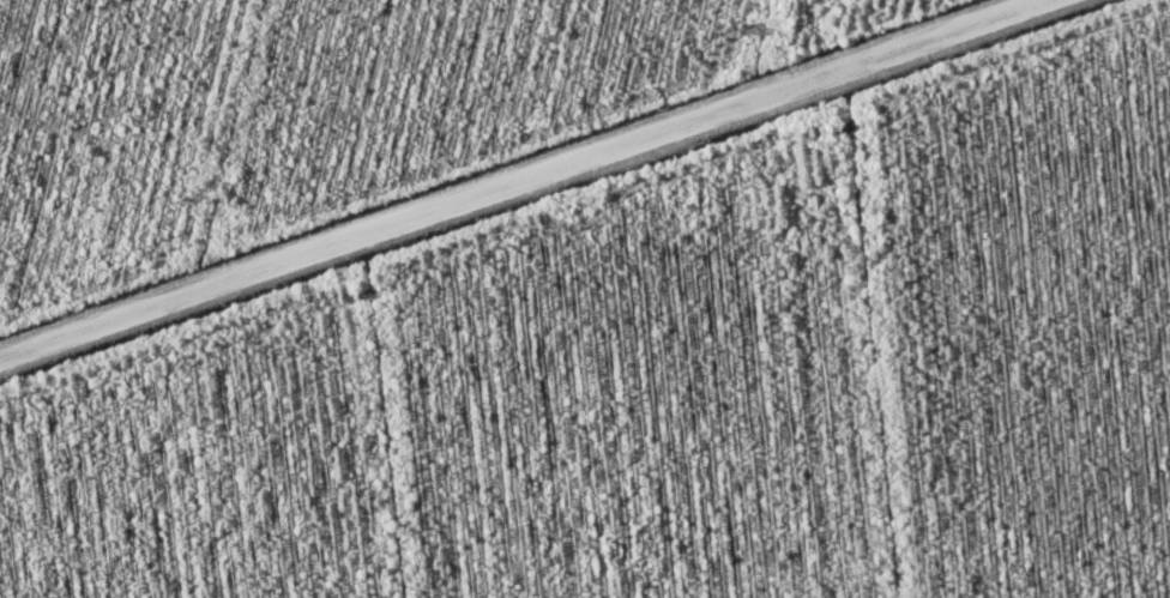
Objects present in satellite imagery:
road: (436, 333)
road: (903, 391)
road: (421, 471)

